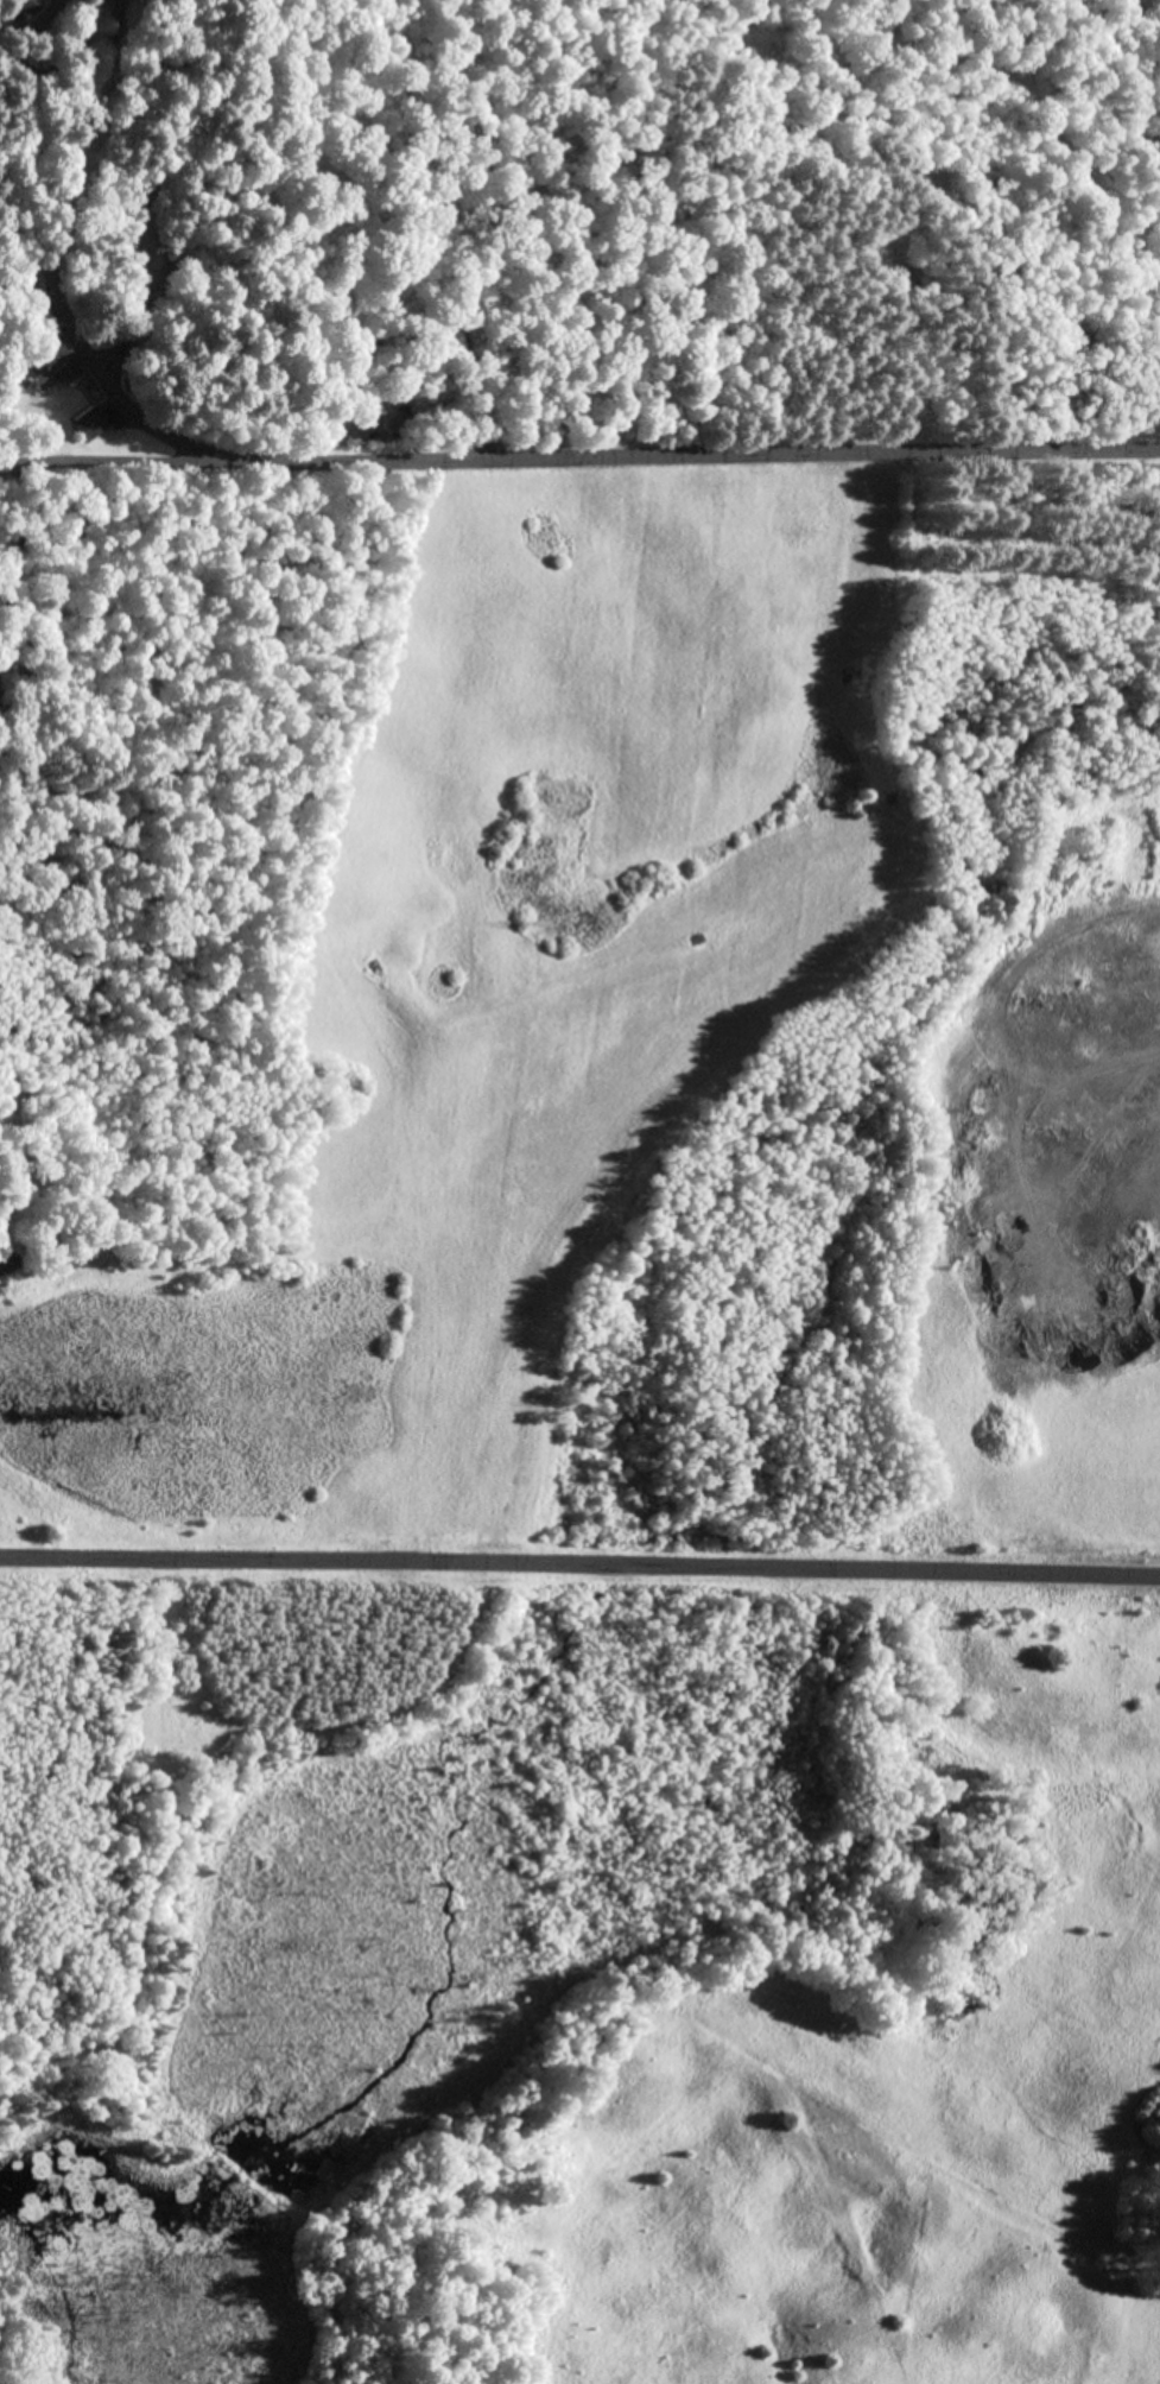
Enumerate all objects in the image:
building: (24, 8)
road: (66, 171)
building: (51, 369)
building: (90, 429)
road: (43, 459)
road: (649, 489)
road: (8, 546)
road: (579, 1567)

